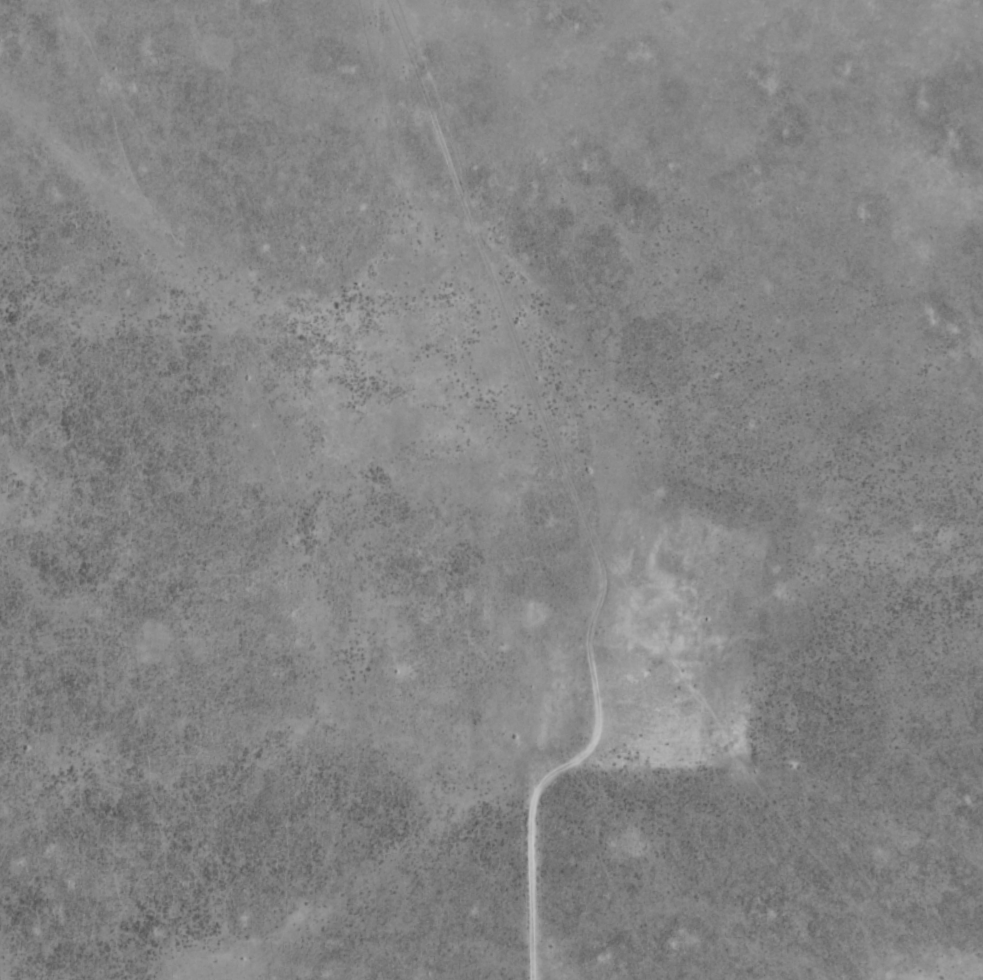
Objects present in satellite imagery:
road: (560, 843)

